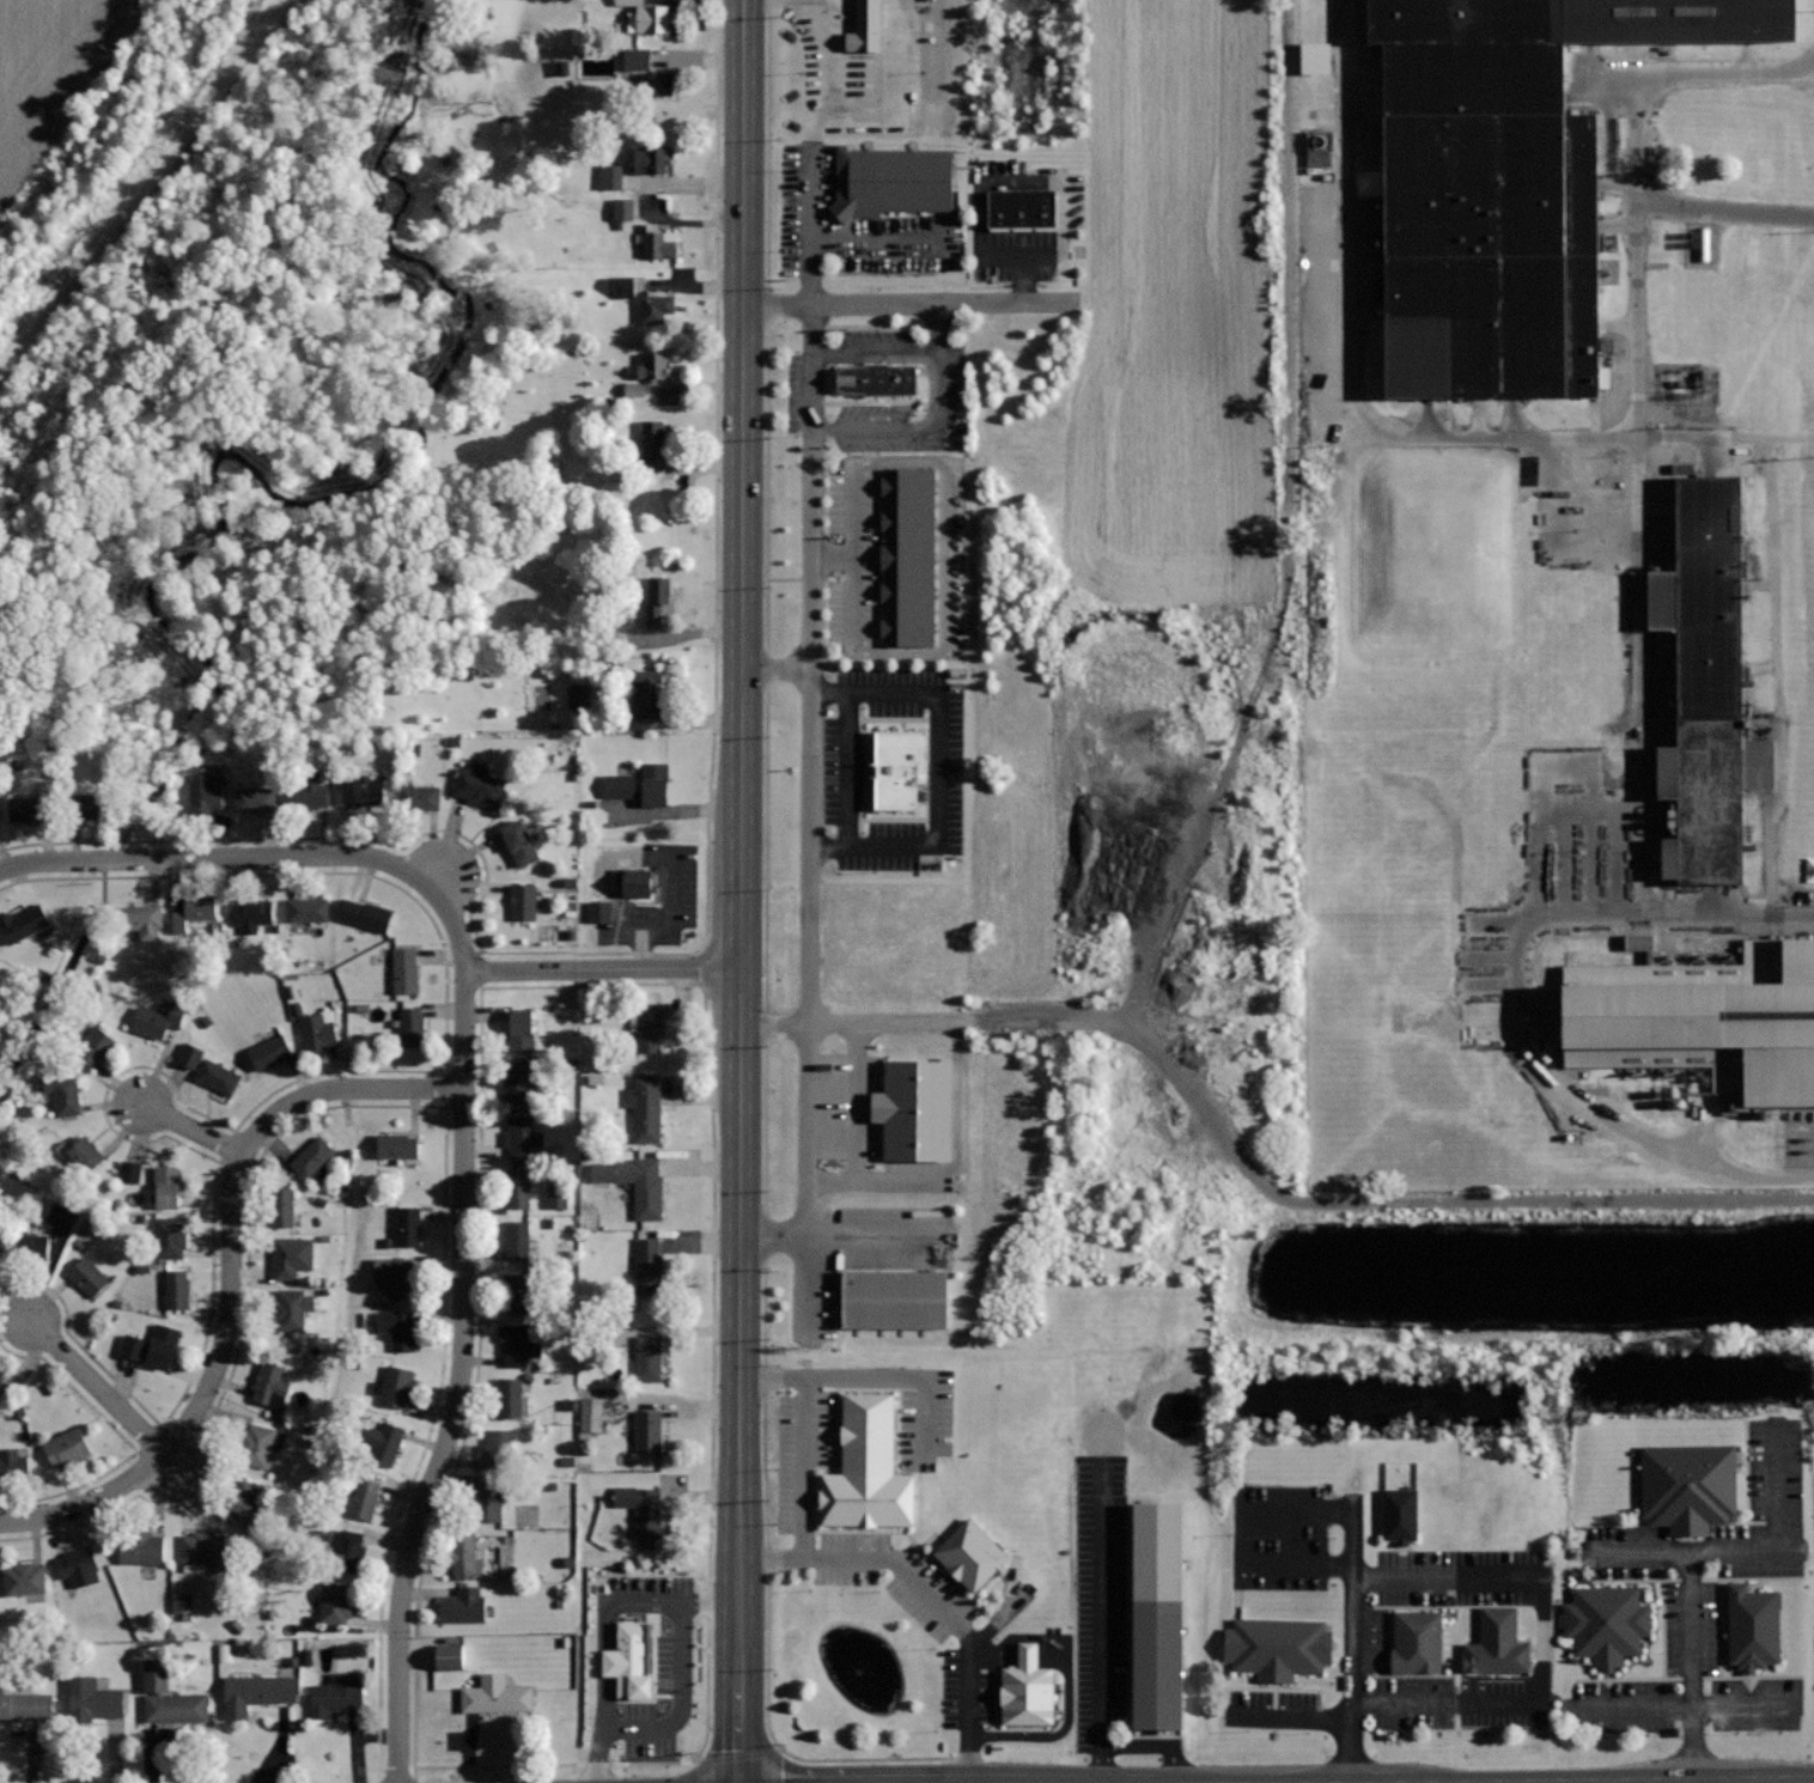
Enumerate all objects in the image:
building: (649, 18)
building: (865, 26)
road: (896, 48)
road: (857, 57)
building: (631, 59)
building: (1311, 59)
parking lot: (869, 62)
road: (1656, 67)
building: (659, 86)
road: (873, 124)
road: (814, 132)
building: (1315, 148)
building: (651, 159)
building: (608, 177)
building: (891, 181)
road: (993, 182)
building: (1498, 182)
road: (1723, 206)
building: (622, 209)
building: (1021, 209)
parking lot: (1022, 221)
parking lot: (851, 227)
building: (658, 242)
road: (887, 243)
road: (812, 284)
building: (617, 286)
road: (909, 305)
building: (656, 306)
road: (942, 329)
road: (877, 355)
building: (655, 366)
building: (1706, 379)
building: (872, 381)
parking lot: (877, 387)
building: (631, 390)
road: (914, 427)
road: (1374, 430)
building: (652, 438)
road: (833, 555)
building: (908, 555)
parking lot: (896, 558)
road: (1773, 588)
building: (656, 598)
road: (1639, 638)
road: (949, 652)
road: (775, 669)
building: (1703, 686)
building: (647, 693)
road: (1246, 706)
road: (810, 732)
building: (900, 767)
road: (851, 769)
parking lot: (893, 769)
road: (941, 769)
building: (477, 784)
building: (643, 784)
building: (361, 789)
building: (308, 792)
building: (206, 795)
building: (420, 796)
building: (255, 798)
building: (92, 804)
building: (29, 809)
building: (0, 810)
building: (521, 842)
road: (1770, 852)
road: (213, 857)
road: (433, 872)
building: (635, 881)
road: (742, 891)
building: (524, 901)
building: (309, 909)
building: (605, 911)
building: (195, 912)
building: (252, 914)
building: (365, 914)
building: (142, 920)
building: (23, 923)
building: (1633, 941)
road: (769, 964)
building: (407, 969)
road: (602, 969)
building: (158, 1018)
building: (1694, 1018)
building: (413, 1026)
building: (650, 1027)
building: (522, 1029)
building: (318, 1030)
building: (95, 1045)
building: (270, 1048)
building: (196, 1055)
building: (218, 1076)
road: (1541, 1078)
building: (522, 1084)
building: (63, 1096)
road: (856, 1105)
building: (646, 1107)
building: (918, 1110)
parking lot: (875, 1120)
road: (193, 1128)
building: (523, 1136)
building: (398, 1145)
building: (85, 1154)
building: (314, 1160)
building: (134, 1170)
road: (882, 1182)
building: (166, 1185)
building: (644, 1185)
building: (518, 1188)
road: (808, 1192)
building: (562, 1193)
road: (1426, 1203)
building: (282, 1207)
building: (68, 1218)
building: (408, 1225)
building: (169, 1236)
building: (517, 1240)
road: (844, 1240)
building: (0, 1245)
building: (29, 1246)
parking lot: (850, 1254)
building: (292, 1256)
building: (0, 1267)
building: (649, 1267)
building: (90, 1276)
building: (400, 1276)
road: (231, 1278)
building: (178, 1288)
building: (517, 1292)
building: (894, 1298)
building: (292, 1308)
building: (398, 1327)
road: (462, 1331)
building: (517, 1344)
building: (152, 1346)
building: (647, 1357)
road: (911, 1379)
building: (2, 1383)
road: (95, 1383)
building: (270, 1383)
building: (398, 1386)
building: (510, 1396)
building: (598, 1414)
building: (647, 1430)
building: (386, 1434)
building: (257, 1444)
building: (67, 1448)
building: (497, 1450)
building: (13, 1463)
road: (802, 1467)
building: (868, 1468)
building: (1690, 1485)
building: (365, 1498)
building: (488, 1499)
building: (244, 1502)
parking lot: (796, 1503)
building: (643, 1508)
building: (1400, 1513)
road: (1246, 1536)
building: (141, 1547)
building: (206, 1548)
building: (349, 1550)
road: (1745, 1551)
building: (972, 1553)
building: (465, 1554)
building: (79, 1565)
road: (894, 1565)
parking lot: (1411, 1576)
building: (24, 1578)
building: (336, 1601)
building: (188, 1602)
building: (463, 1605)
parking lot: (1703, 1606)
building: (1152, 1615)
parking lot: (1103, 1618)
road: (1000, 1619)
road: (1097, 1620)
building: (1607, 1621)
building: (1752, 1626)
road: (1349, 1638)
parking lot: (1351, 1639)
parking lot: (1372, 1639)
building: (1417, 1641)
parking lot: (1542, 1641)
road: (1371, 1642)
building: (1497, 1643)
road: (1542, 1643)
building: (1273, 1648)
road: (993, 1651)
building: (458, 1657)
building: (640, 1662)
road: (1693, 1665)
parking lot: (1006, 1679)
building: (1028, 1688)
building: (256, 1692)
building: (337, 1694)
building: (494, 1696)
building: (169, 1697)
building: (93, 1699)
parking lot: (1411, 1702)
building: (25, 1705)
road: (964, 1705)
road: (1670, 1708)
road: (1284, 1717)
road: (1058, 1728)
road: (1155, 1745)
road: (1593, 1779)
road: (1680, 1781)

